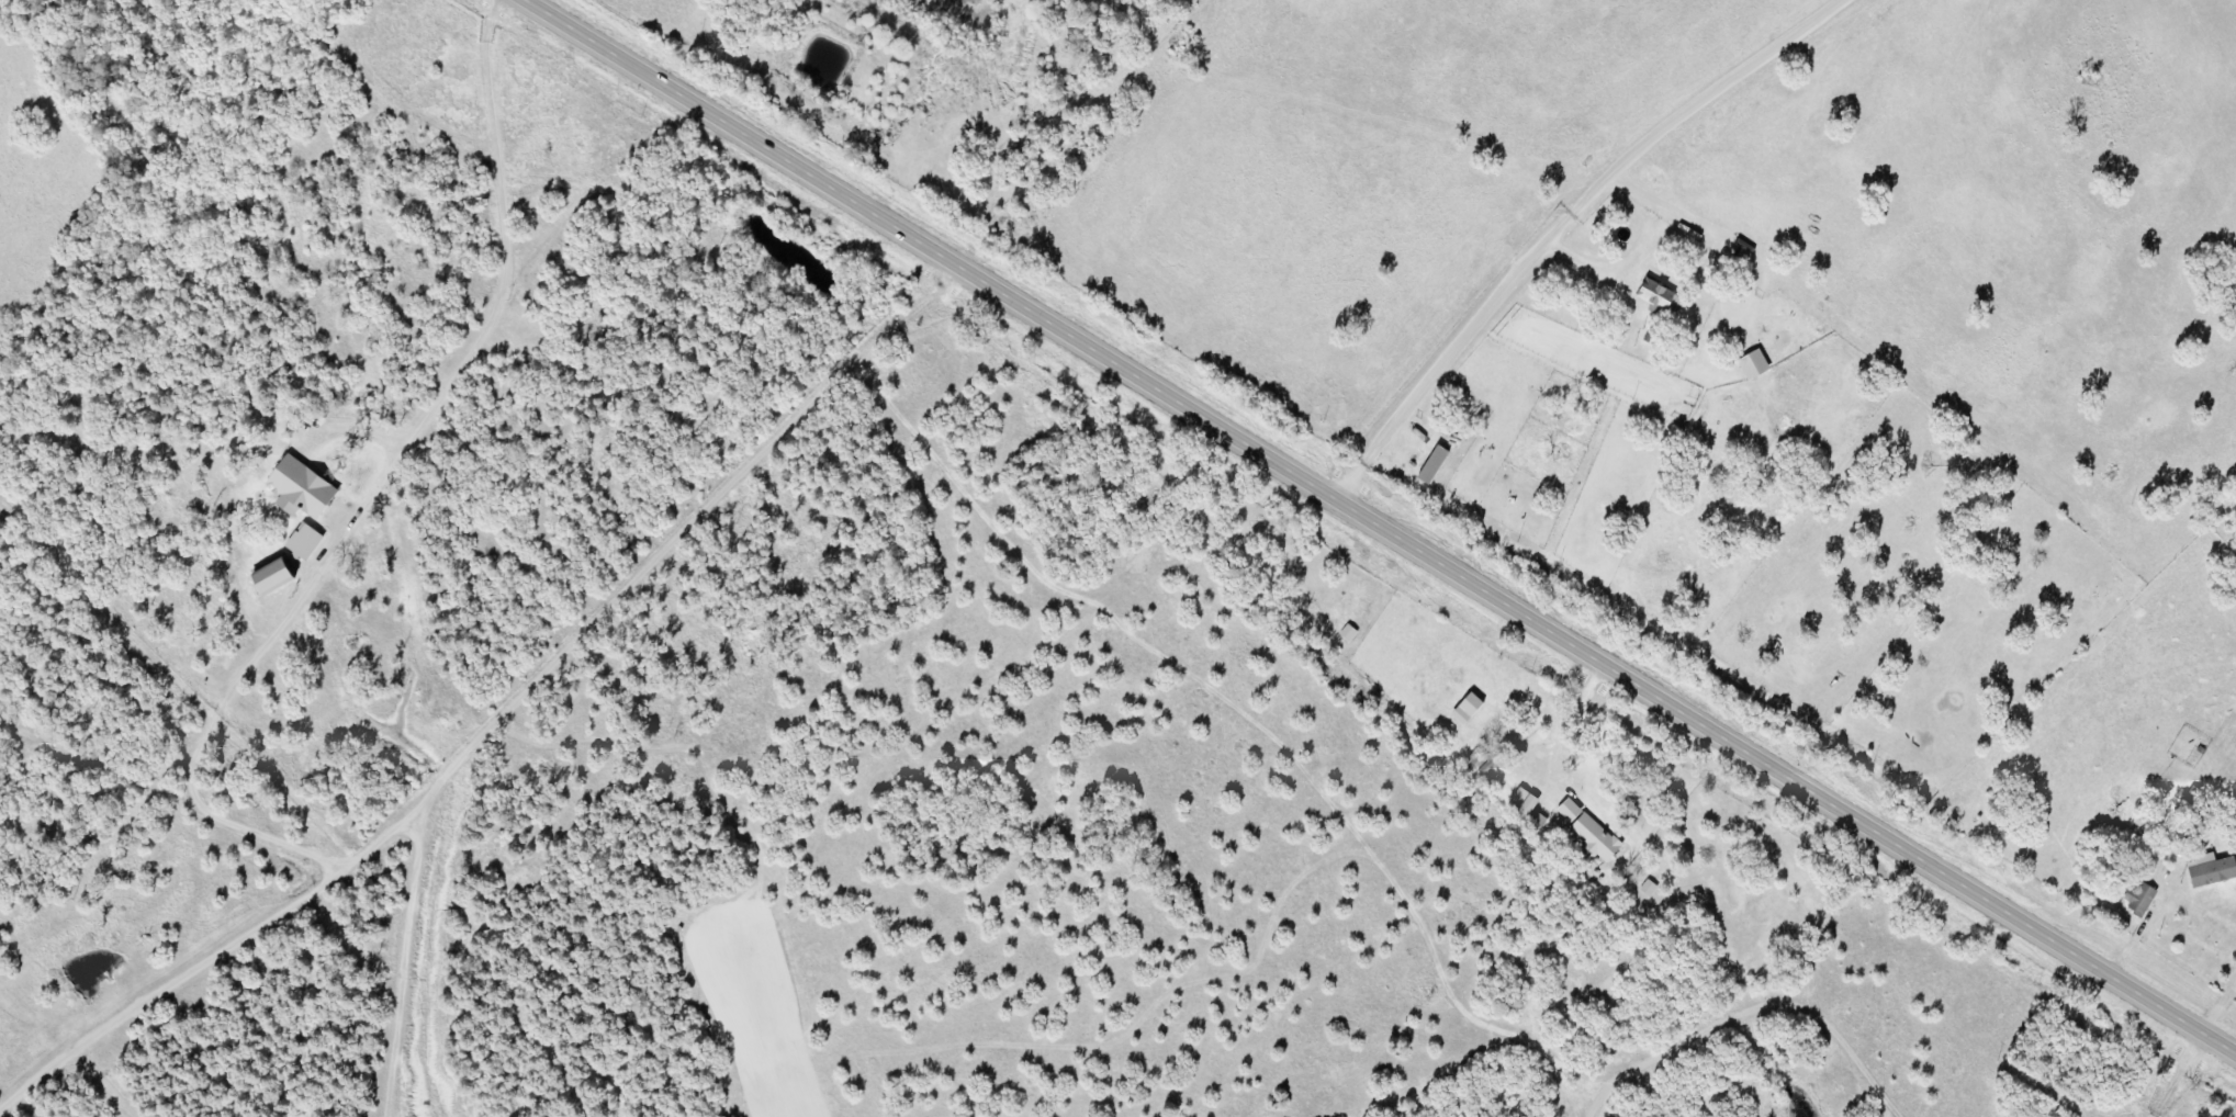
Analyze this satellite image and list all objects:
road: (1564, 223)
building: (1663, 298)
building: (1760, 365)
building: (307, 488)
road: (1379, 522)
building: (311, 542)
building: (281, 577)
building: (1352, 633)
road: (491, 709)
building: (1474, 710)
building: (1480, 758)
building: (1530, 801)
building: (1593, 831)
building: (2213, 871)
building: (1652, 889)
building: (2144, 900)
road: (2225, 1020)

